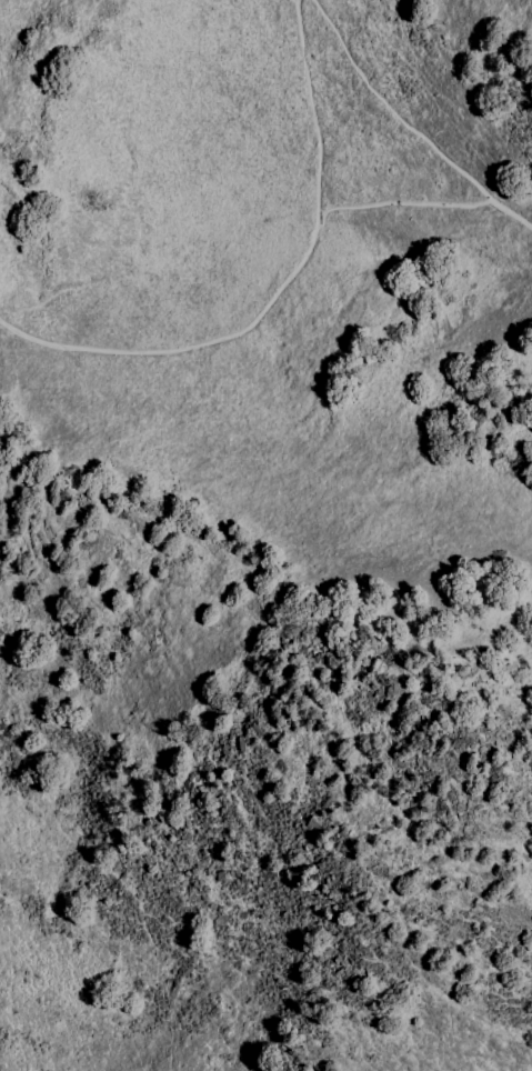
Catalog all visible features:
road: (405, 124)
road: (279, 296)

